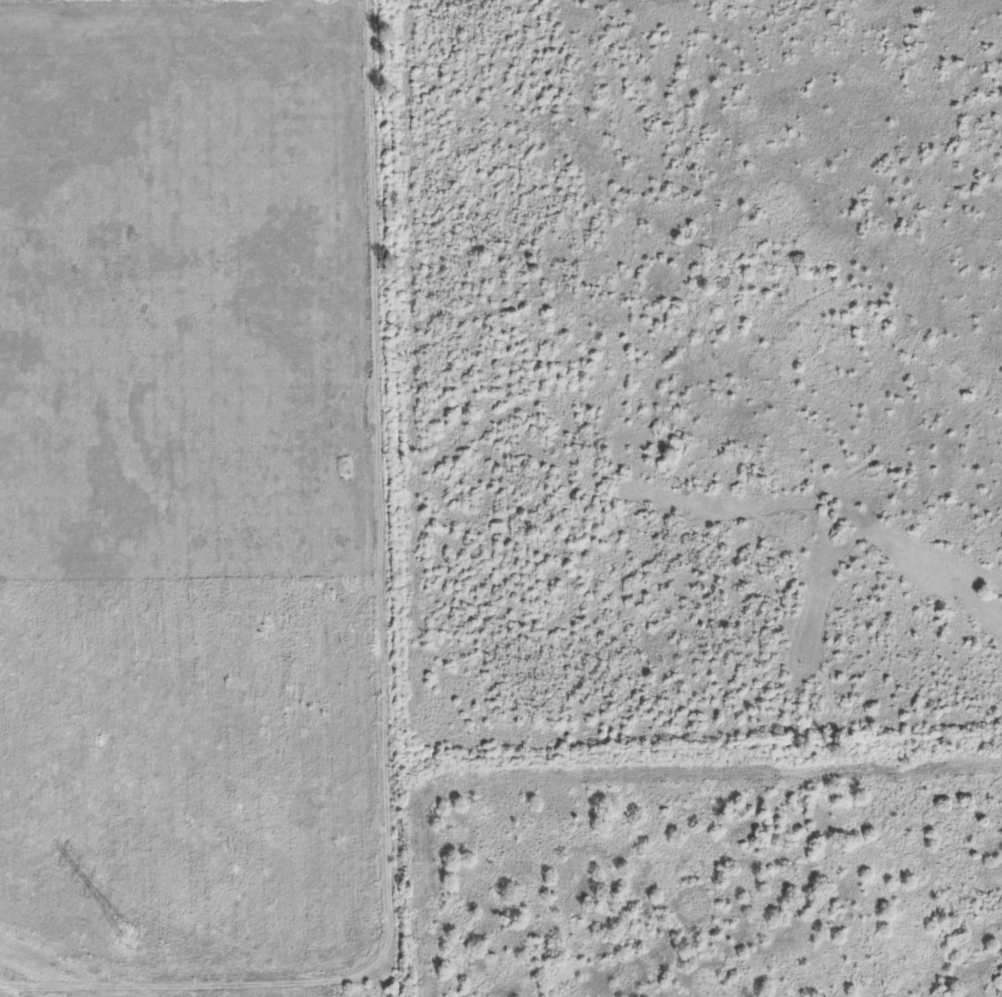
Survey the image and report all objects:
power tower: (128, 937)

